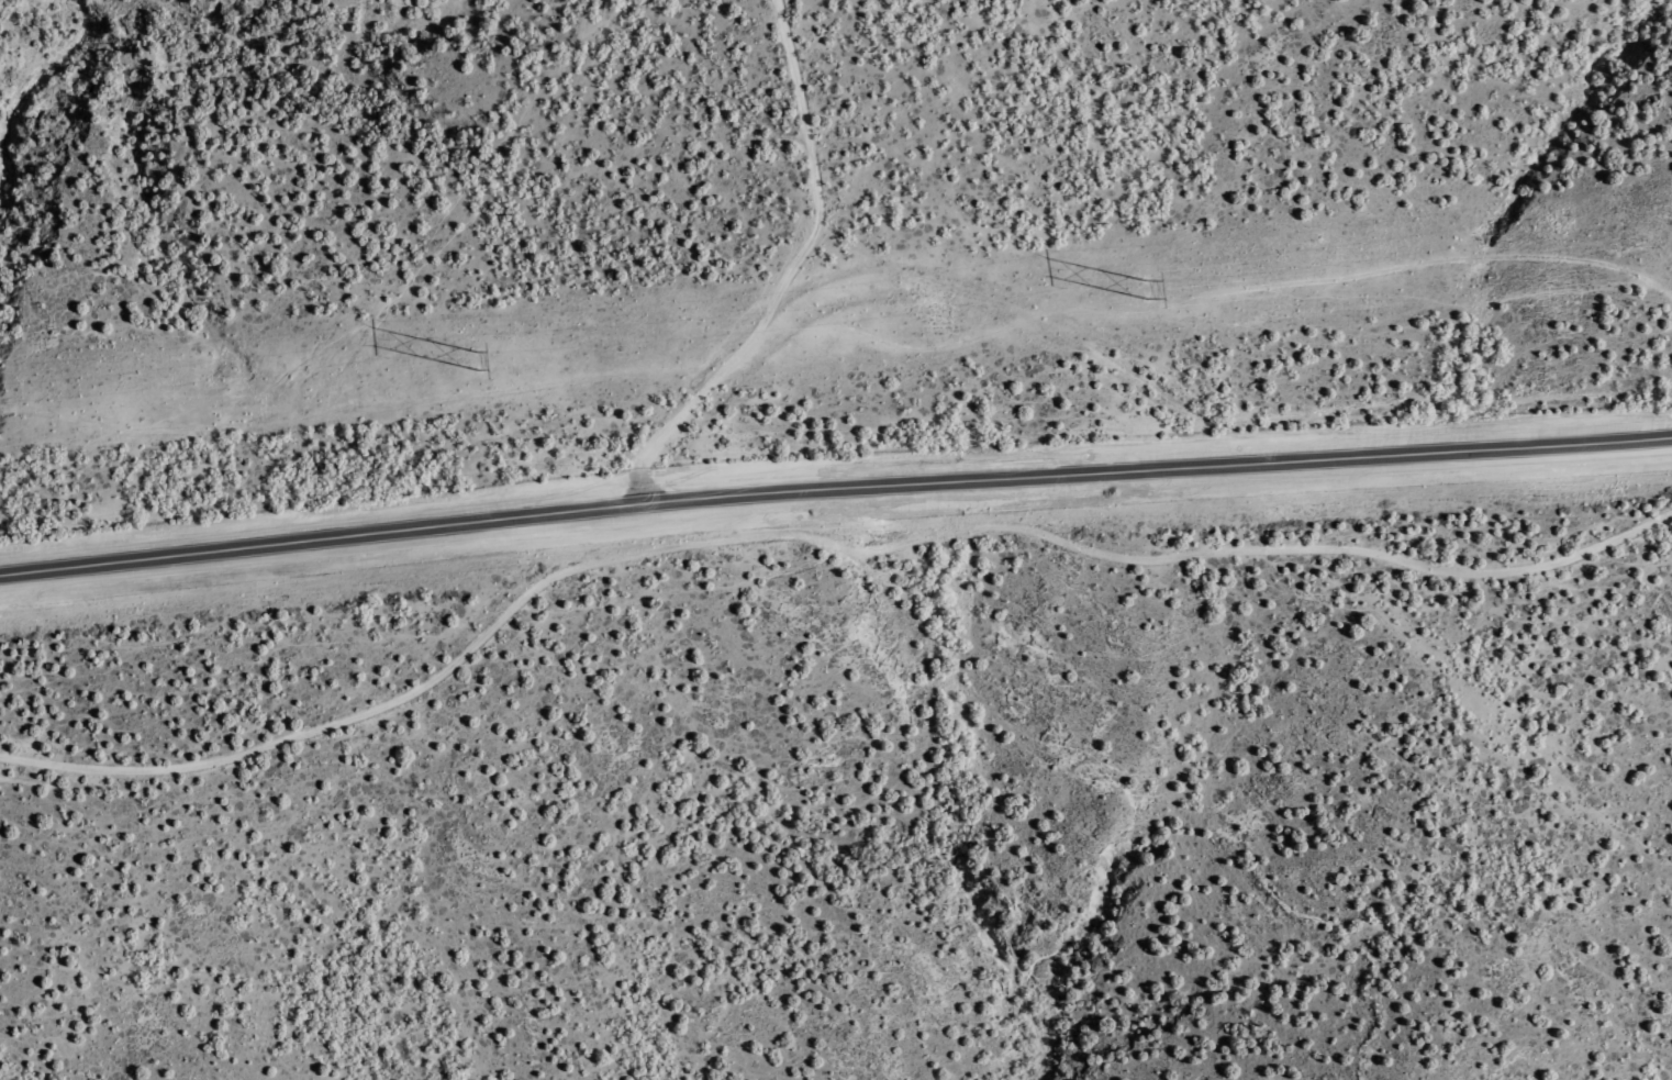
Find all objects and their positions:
power tower: (1144, 288)
road: (1134, 335)
power tower: (478, 360)
road: (834, 491)

